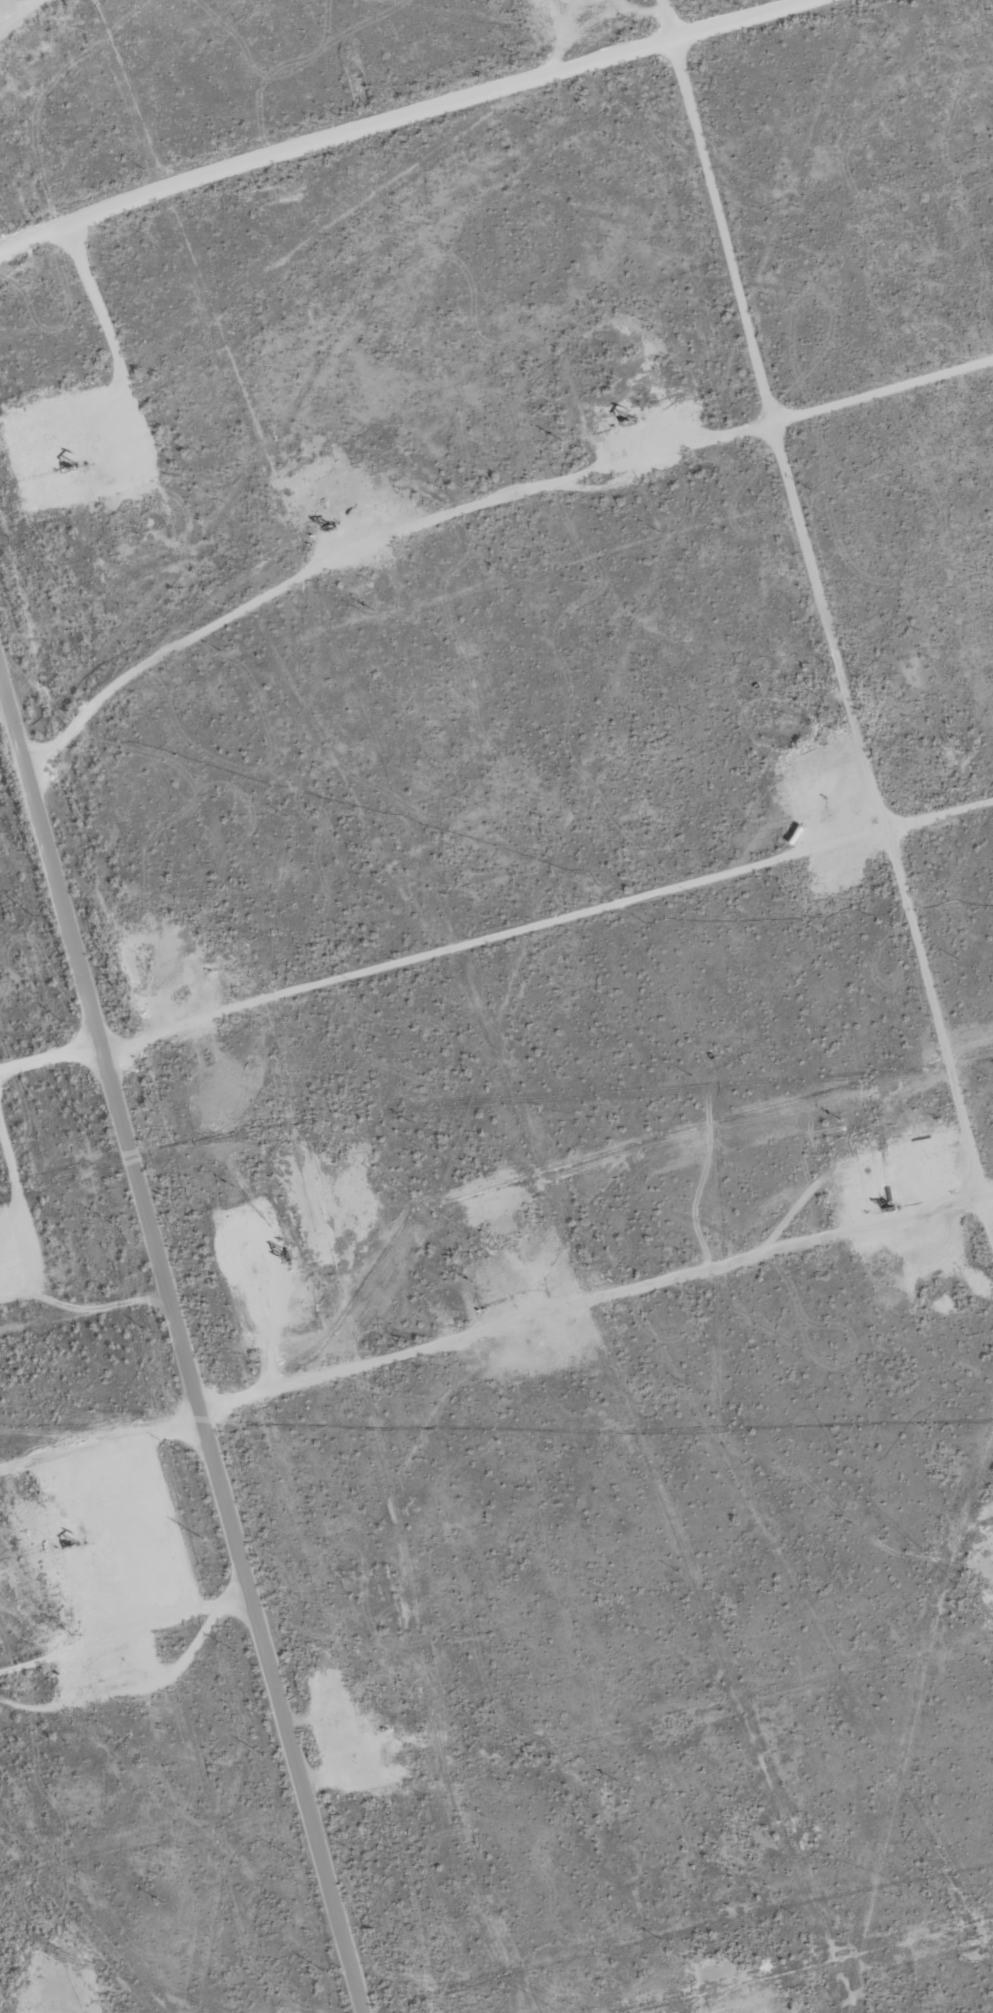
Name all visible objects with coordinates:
road: (22, 13)
road: (413, 125)
road: (182, 1345)

